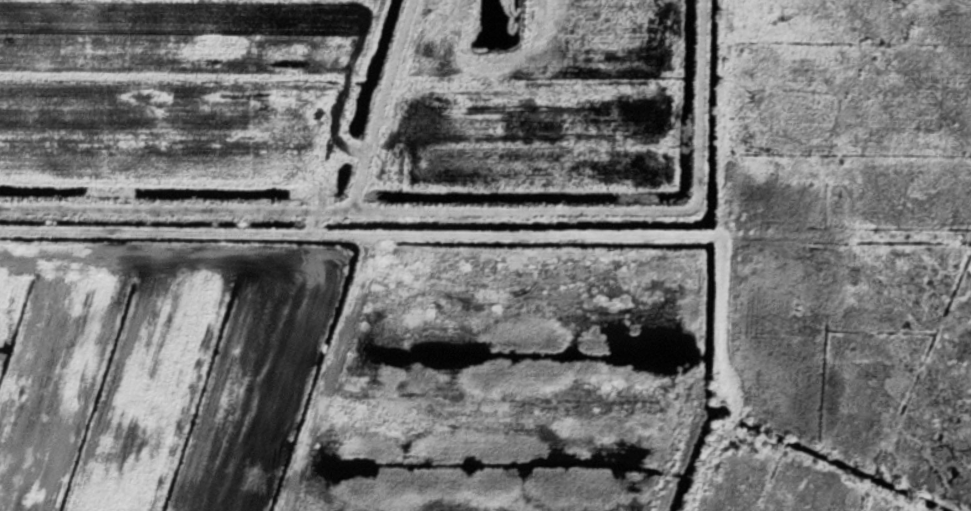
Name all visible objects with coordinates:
road: (699, 83)
road: (418, 148)

